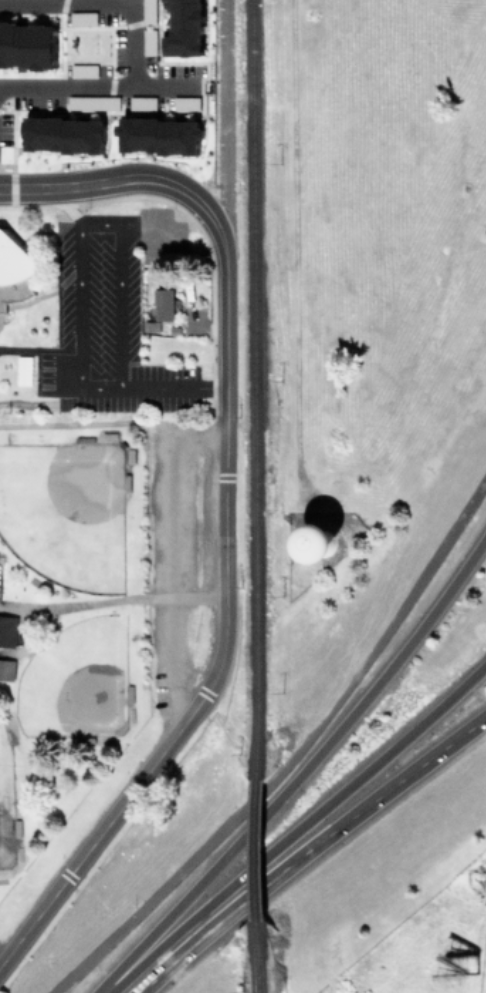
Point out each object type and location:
road: (104, 1)
building: (148, 12)
building: (184, 29)
building: (149, 42)
building: (27, 45)
road: (112, 88)
building: (92, 102)
building: (141, 102)
building: (185, 103)
road: (223, 104)
building: (63, 134)
building: (159, 135)
road: (134, 177)
road: (76, 224)
building: (13, 270)
building: (165, 304)
railway: (252, 385)
road: (170, 389)
park: (64, 513)
water tower: (338, 537)
building: (319, 543)
road: (173, 561)
park: (94, 598)
road: (111, 599)
building: (7, 630)
road: (221, 647)
building: (6, 669)
park: (74, 680)
road: (290, 753)
road: (299, 769)
park: (5, 801)
road: (295, 827)
road: (322, 835)
railway: (255, 850)
road: (2, 956)
railway: (255, 961)
road: (149, 978)

